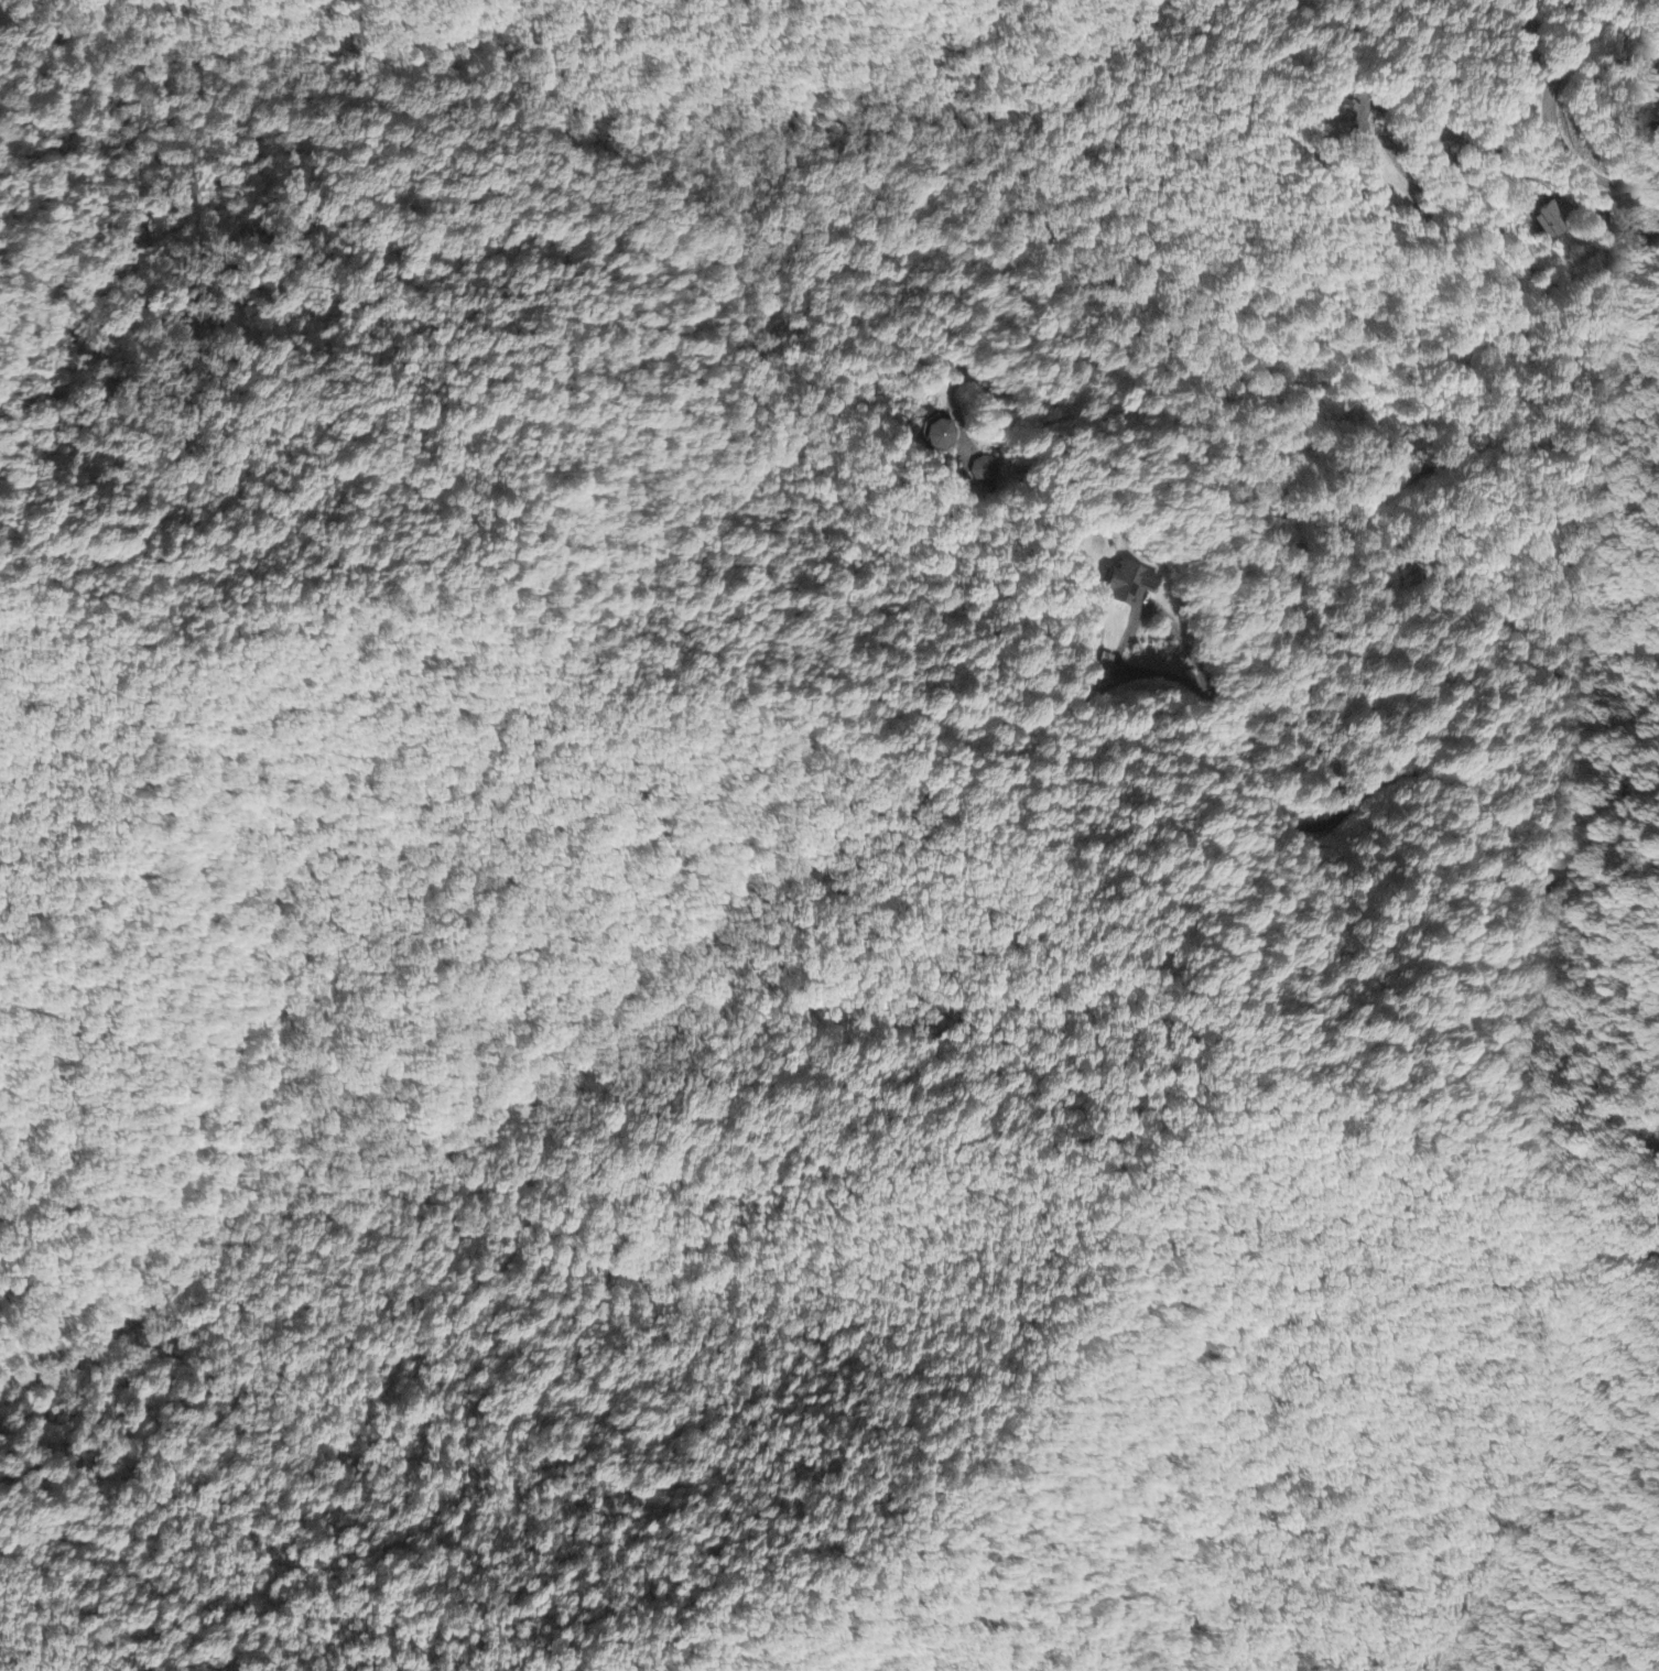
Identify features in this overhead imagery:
building: (1345, 117)
road: (1553, 123)
building: (1549, 221)
building: (937, 435)
road: (1275, 489)
building: (1125, 586)

